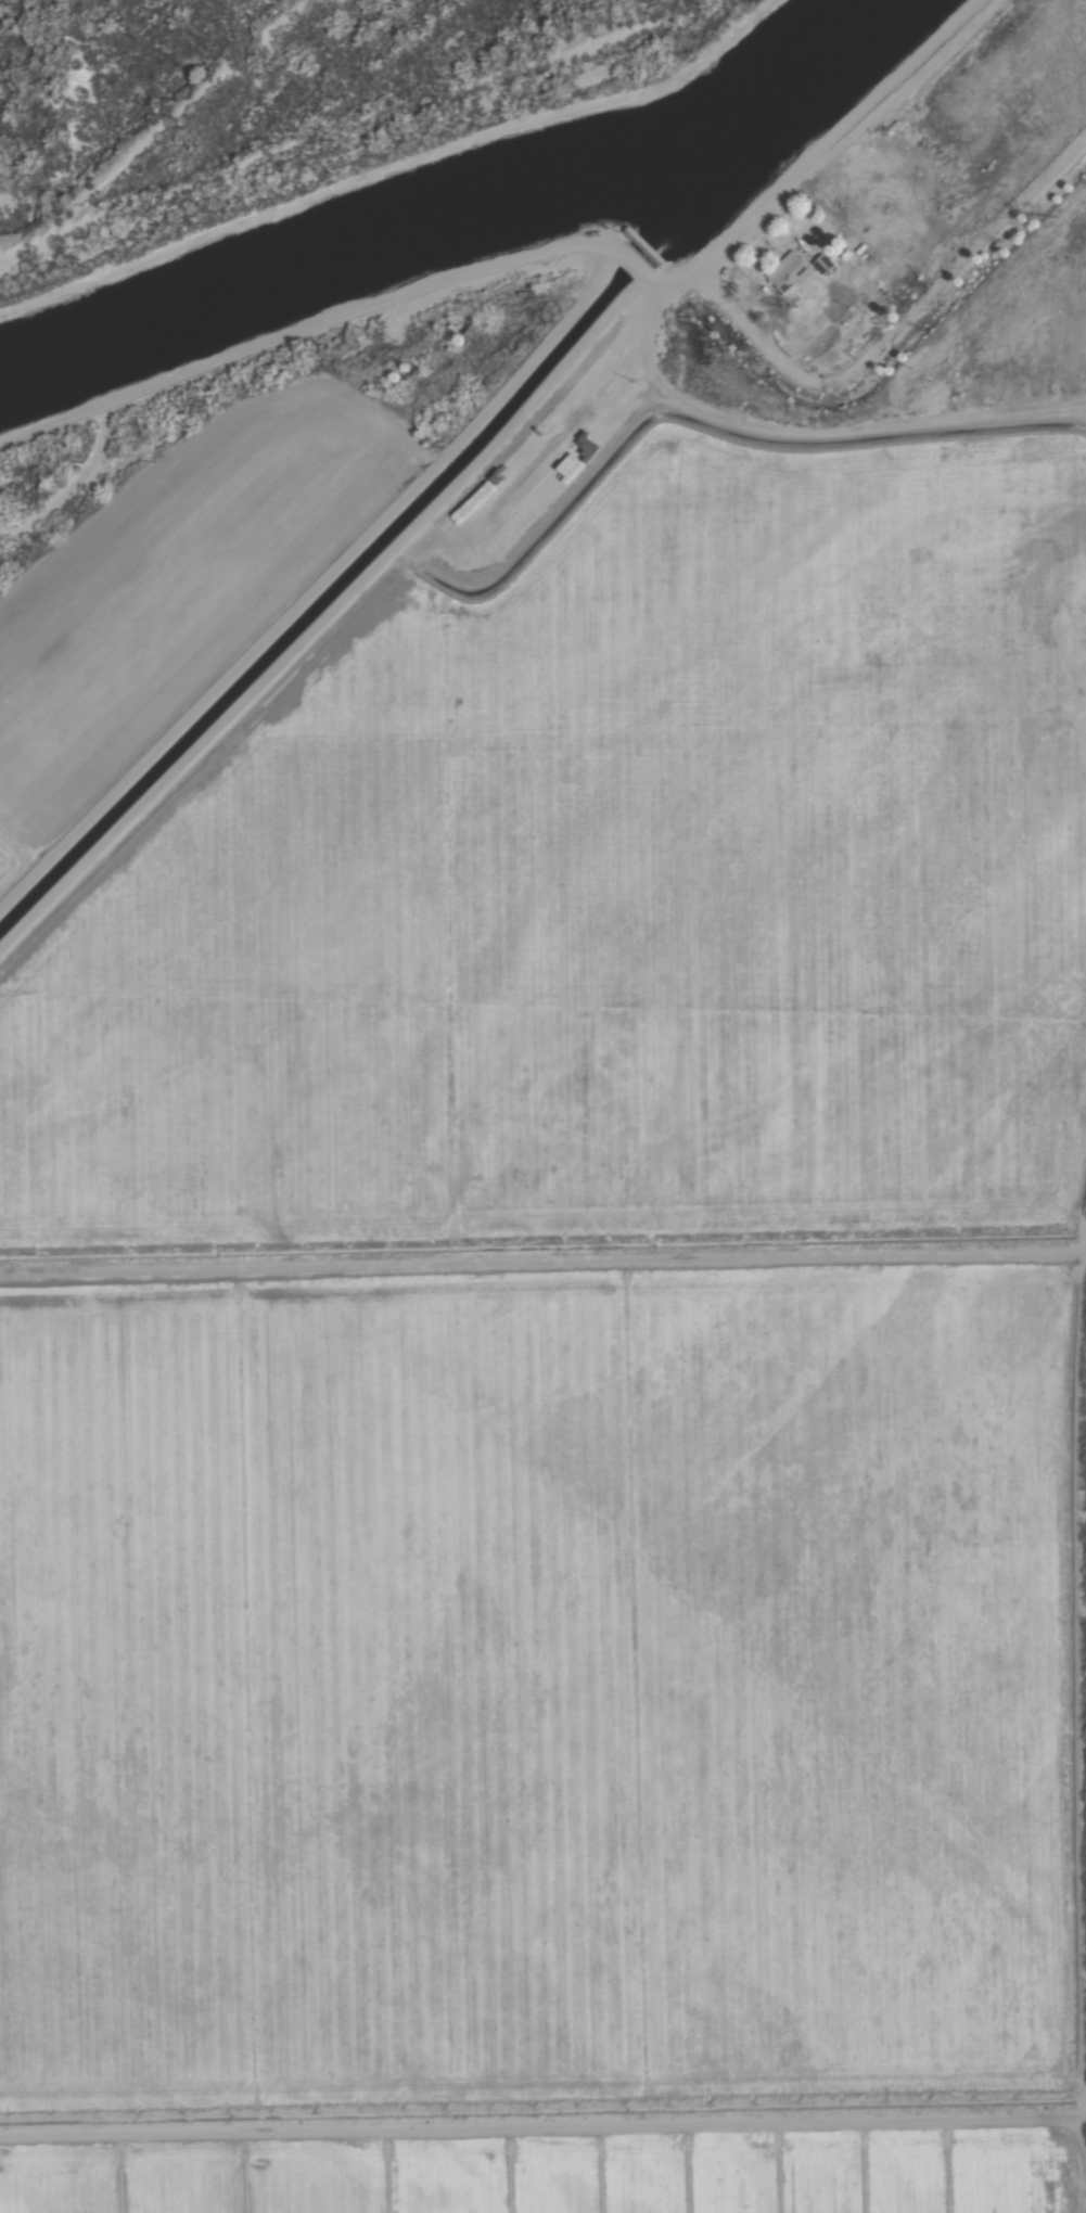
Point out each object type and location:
building: (789, 273)
crop: (618, 887)

